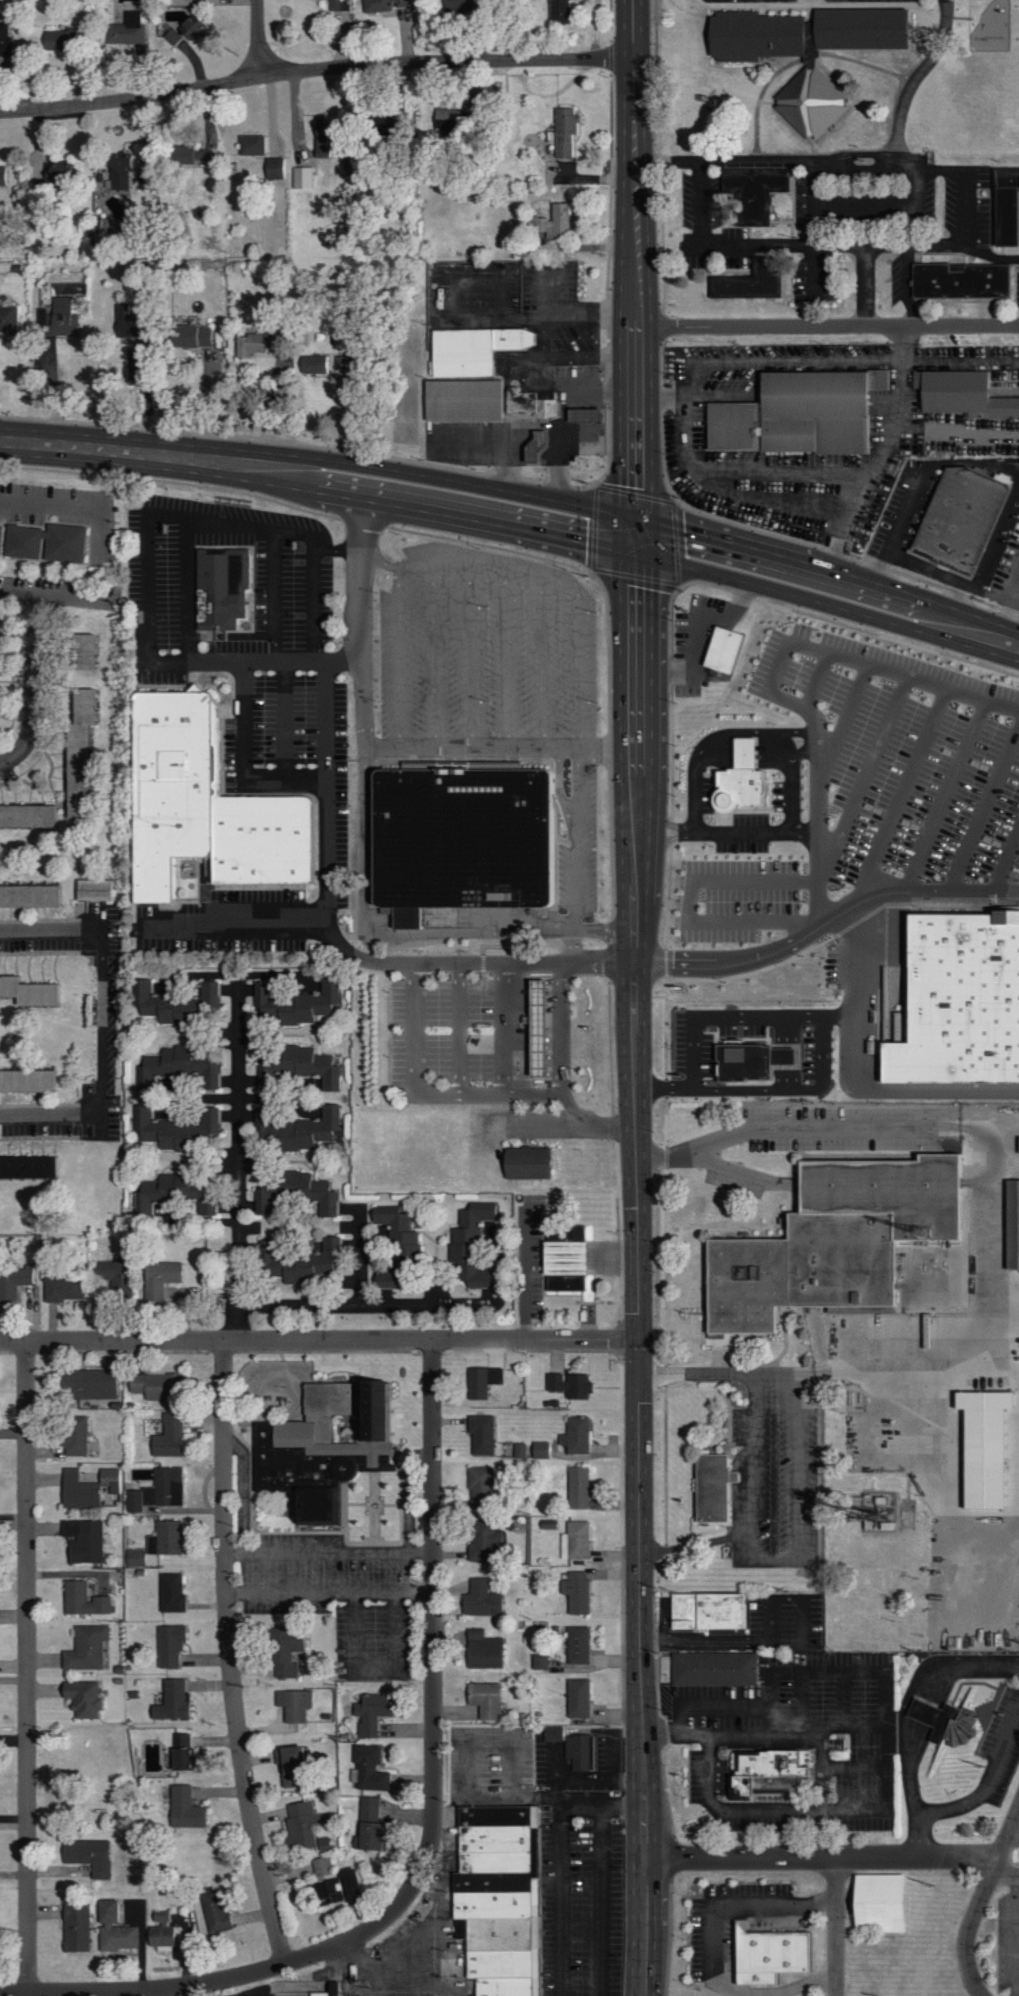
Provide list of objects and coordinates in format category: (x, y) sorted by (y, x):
parking lot: (820, 1)
building: (381, 6)
building: (455, 6)
building: (557, 11)
building: (122, 33)
road: (259, 38)
building: (58, 39)
building: (5, 42)
building: (808, 50)
road: (315, 70)
building: (375, 126)
building: (564, 131)
building: (320, 137)
building: (251, 145)
building: (190, 155)
road: (851, 159)
building: (275, 169)
road: (963, 169)
building: (56, 170)
building: (118, 171)
building: (6, 175)
building: (303, 178)
building: (759, 186)
building: (1009, 204)
road: (915, 205)
road: (865, 207)
building: (554, 223)
road: (815, 229)
road: (886, 243)
road: (964, 243)
road: (741, 244)
road: (634, 272)
building: (753, 278)
building: (963, 280)
road: (549, 286)
building: (11, 319)
building: (124, 323)
road: (826, 324)
road: (543, 333)
building: (190, 337)
building: (254, 345)
building: (478, 348)
road: (838, 363)
building: (313, 365)
road: (696, 394)
building: (967, 394)
road: (576, 398)
building: (466, 400)
building: (801, 412)
building: (542, 415)
gas station: (542, 415)
road: (472, 444)
road: (539, 454)
road: (879, 459)
road: (745, 466)
road: (320, 476)
road: (517, 480)
road: (51, 506)
road: (907, 506)
building: (964, 517)
road: (219, 522)
building: (1, 540)
building: (53, 542)
traffic signals: (636, 544)
road: (338, 548)
road: (516, 552)
road: (380, 559)
road: (921, 564)
road: (489, 565)
building: (227, 586)
parking lot: (296, 586)
road: (186, 589)
road: (829, 589)
road: (274, 595)
road: (59, 596)
road: (1009, 599)
road: (29, 607)
road: (364, 615)
road: (700, 627)
building: (725, 648)
building: (89, 652)
road: (470, 655)
road: (504, 657)
road: (435, 658)
road: (397, 659)
road: (256, 661)
road: (542, 661)
road: (578, 669)
road: (32, 684)
road: (774, 684)
road: (820, 684)
building: (0, 686)
road: (13, 691)
road: (53, 713)
road: (285, 719)
road: (846, 726)
road: (765, 737)
road: (1, 740)
road: (739, 747)
road: (807, 748)
building: (86, 756)
road: (243, 760)
building: (742, 779)
road: (865, 786)
road: (793, 791)
parking lot: (876, 792)
road: (695, 796)
road: (904, 798)
road: (949, 799)
building: (207, 806)
building: (31, 816)
road: (985, 817)
road: (728, 831)
parking lot: (336, 835)
building: (465, 836)
road: (366, 840)
road: (1007, 868)
building: (98, 890)
building: (33, 896)
road: (693, 904)
road: (40, 919)
road: (233, 920)
road: (827, 927)
road: (52, 930)
road: (635, 942)
road: (344, 948)
road: (52, 953)
building: (32, 992)
building: (961, 998)
building: (295, 1003)
building: (182, 1004)
road: (713, 1016)
road: (104, 1022)
building: (540, 1025)
gas station: (540, 1025)
parking lot: (441, 1026)
road: (416, 1028)
road: (459, 1028)
road: (563, 1028)
building: (744, 1063)
building: (302, 1065)
building: (180, 1068)
road: (822, 1068)
road: (862, 1077)
building: (33, 1082)
road: (775, 1088)
road: (459, 1094)
road: (510, 1095)
road: (51, 1104)
road: (52, 1117)
road: (547, 1125)
building: (176, 1128)
road: (904, 1128)
building: (307, 1130)
road: (39, 1137)
building: (1017, 1144)
building: (529, 1160)
road: (239, 1161)
building: (33, 1168)
building: (294, 1192)
building: (173, 1194)
building: (1014, 1224)
building: (838, 1239)
building: (395, 1244)
road: (358, 1255)
building: (569, 1258)
building: (300, 1262)
building: (107, 1275)
building: (474, 1276)
building: (159, 1279)
building: (16, 1280)
road: (524, 1280)
building: (65, 1289)
road: (371, 1304)
traffic signals: (639, 1341)
road: (319, 1342)
road: (310, 1352)
road: (696, 1372)
building: (481, 1381)
building: (89, 1384)
building: (569, 1385)
building: (157, 1386)
building: (480, 1435)
building: (575, 1435)
building: (73, 1436)
building: (168, 1437)
building: (325, 1445)
building: (984, 1446)
building: (519, 1450)
building: (540, 1450)
building: (110, 1479)
road: (797, 1483)
building: (479, 1484)
building: (167, 1487)
building: (715, 1487)
building: (577, 1488)
road: (408, 1489)
building: (77, 1491)
building: (147, 1496)
building: (133, 1501)
road: (751, 1505)
building: (165, 1538)
building: (82, 1540)
building: (575, 1541)
road: (328, 1542)
building: (482, 1542)
building: (135, 1558)
road: (329, 1583)
building: (171, 1592)
building: (575, 1592)
building: (480, 1599)
building: (82, 1600)
building: (709, 1610)
road: (782, 1642)
building: (575, 1644)
building: (169, 1645)
building: (85, 1648)
building: (284, 1651)
building: (482, 1651)
road: (229, 1656)
building: (538, 1662)
road: (27, 1668)
road: (641, 1668)
building: (716, 1668)
road: (861, 1671)
building: (81, 1698)
building: (577, 1698)
road: (802, 1698)
road: (844, 1699)
building: (483, 1700)
building: (171, 1701)
building: (294, 1705)
road: (433, 1705)
road: (709, 1705)
road: (931, 1707)
building: (370, 1713)
building: (948, 1720)
road: (659, 1734)
road: (728, 1734)
parking lot: (798, 1741)
building: (574, 1747)
parking lot: (1000, 1749)
building: (181, 1752)
road: (822, 1765)
building: (288, 1767)
road: (854, 1767)
building: (369, 1769)
building: (772, 1772)
road: (979, 1793)
road: (602, 1806)
building: (183, 1809)
road: (804, 1811)
building: (368, 1825)
building: (303, 1828)
road: (1006, 1844)
road: (823, 1855)
building: (88, 1856)
building: (336, 1889)
building: (500, 1897)
parking lot: (580, 1898)
road: (561, 1901)
road: (601, 1901)
building: (884, 1904)
building: (214, 1913)
road: (972, 1923)
parking lot: (728, 1925)
road: (836, 1925)
building: (75, 1928)
building: (114, 1929)
building: (161, 1931)
road: (1016, 1935)
parking lot: (1013, 1938)
road: (713, 1945)
building: (775, 1955)
building: (332, 1988)
road: (131, 1991)
road: (170, 1991)
parking lot: (238, 1991)
building: (305, 1995)

